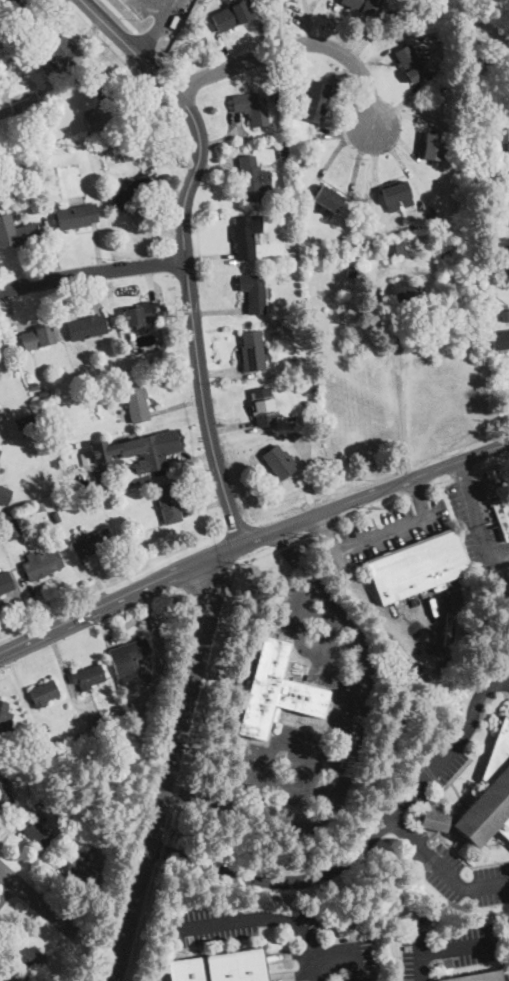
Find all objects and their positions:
building: (11, 1)
road: (20, 2)
road: (310, 5)
building: (363, 5)
road: (155, 9)
building: (231, 16)
road: (307, 21)
road: (329, 24)
road: (278, 25)
road: (156, 27)
road: (259, 28)
road: (366, 41)
building: (1, 44)
road: (296, 45)
building: (54, 47)
building: (10, 51)
road: (226, 51)
road: (373, 58)
building: (410, 63)
building: (97, 79)
building: (275, 83)
road: (125, 85)
building: (277, 97)
building: (315, 101)
road: (400, 104)
building: (252, 107)
road: (405, 116)
building: (94, 119)
building: (26, 122)
road: (342, 130)
road: (240, 132)
building: (498, 135)
building: (142, 136)
road: (225, 136)
building: (89, 146)
road: (406, 146)
building: (433, 146)
building: (282, 149)
building: (455, 149)
building: (47, 152)
building: (508, 152)
road: (336, 153)
road: (395, 154)
road: (357, 160)
road: (215, 163)
road: (376, 165)
road: (172, 170)
building: (252, 178)
building: (133, 193)
building: (396, 193)
building: (328, 200)
building: (76, 216)
building: (15, 231)
building: (244, 237)
building: (501, 243)
road: (55, 247)
road: (96, 247)
building: (394, 249)
road: (184, 250)
building: (444, 255)
road: (209, 259)
building: (352, 271)
road: (91, 272)
road: (153, 291)
building: (253, 292)
building: (407, 293)
road: (95, 301)
building: (303, 306)
road: (217, 310)
road: (374, 310)
road: (11, 312)
building: (139, 315)
building: (505, 315)
building: (86, 327)
building: (38, 337)
building: (500, 339)
building: (252, 351)
building: (308, 366)
building: (10, 367)
building: (134, 369)
road: (397, 372)
road: (220, 373)
building: (88, 385)
building: (34, 386)
building: (306, 386)
building: (44, 394)
building: (136, 402)
building: (26, 403)
road: (176, 406)
building: (262, 406)
building: (24, 422)
road: (240, 425)
building: (300, 437)
building: (71, 445)
building: (0, 449)
building: (136, 450)
building: (0, 451)
building: (279, 462)
road: (464, 469)
road: (149, 475)
road: (307, 479)
road: (434, 491)
building: (4, 495)
road: (363, 496)
road: (418, 497)
building: (168, 504)
building: (39, 507)
road: (204, 507)
building: (502, 516)
building: (56, 517)
road: (477, 520)
parking lot: (474, 523)
building: (9, 527)
parking lot: (393, 528)
road: (386, 531)
road: (326, 532)
building: (92, 543)
road: (292, 556)
building: (42, 564)
building: (417, 567)
road: (357, 580)
road: (93, 582)
building: (5, 583)
road: (109, 601)
road: (21, 604)
road: (44, 604)
road: (128, 622)
road: (150, 622)
parking lot: (420, 629)
road: (399, 632)
road: (108, 636)
building: (166, 643)
road: (304, 649)
building: (128, 657)
road: (364, 661)
parking lot: (498, 675)
road: (67, 676)
building: (87, 677)
road: (498, 682)
building: (274, 691)
road: (23, 692)
building: (43, 693)
building: (151, 693)
road: (201, 701)
parking lot: (348, 704)
road: (472, 714)
building: (97, 719)
building: (118, 719)
building: (4, 722)
building: (139, 728)
building: (81, 736)
building: (94, 741)
parking lot: (441, 760)
road: (442, 760)
road: (166, 767)
road: (262, 784)
building: (66, 788)
building: (5, 793)
building: (483, 799)
road: (434, 814)
road: (17, 821)
road: (403, 828)
building: (36, 831)
road: (161, 850)
building: (80, 868)
road: (56, 872)
parking lot: (460, 877)
road: (303, 879)
road: (456, 879)
road: (5, 886)
road: (35, 899)
road: (270, 918)
road: (143, 922)
parking lot: (204, 940)
parking lot: (448, 948)
road: (350, 949)
road: (444, 949)
building: (24, 955)
road: (9, 966)
building: (220, 967)
building: (479, 977)
road: (6, 978)
building: (29, 978)
building: (0, 980)

